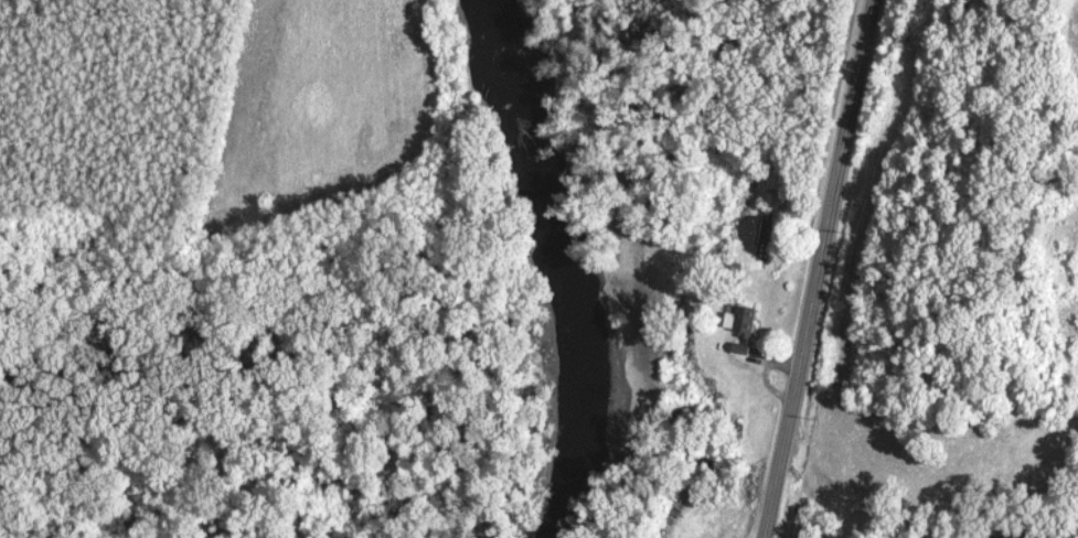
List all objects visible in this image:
building: (777, 179)
road: (818, 268)
building: (745, 330)

